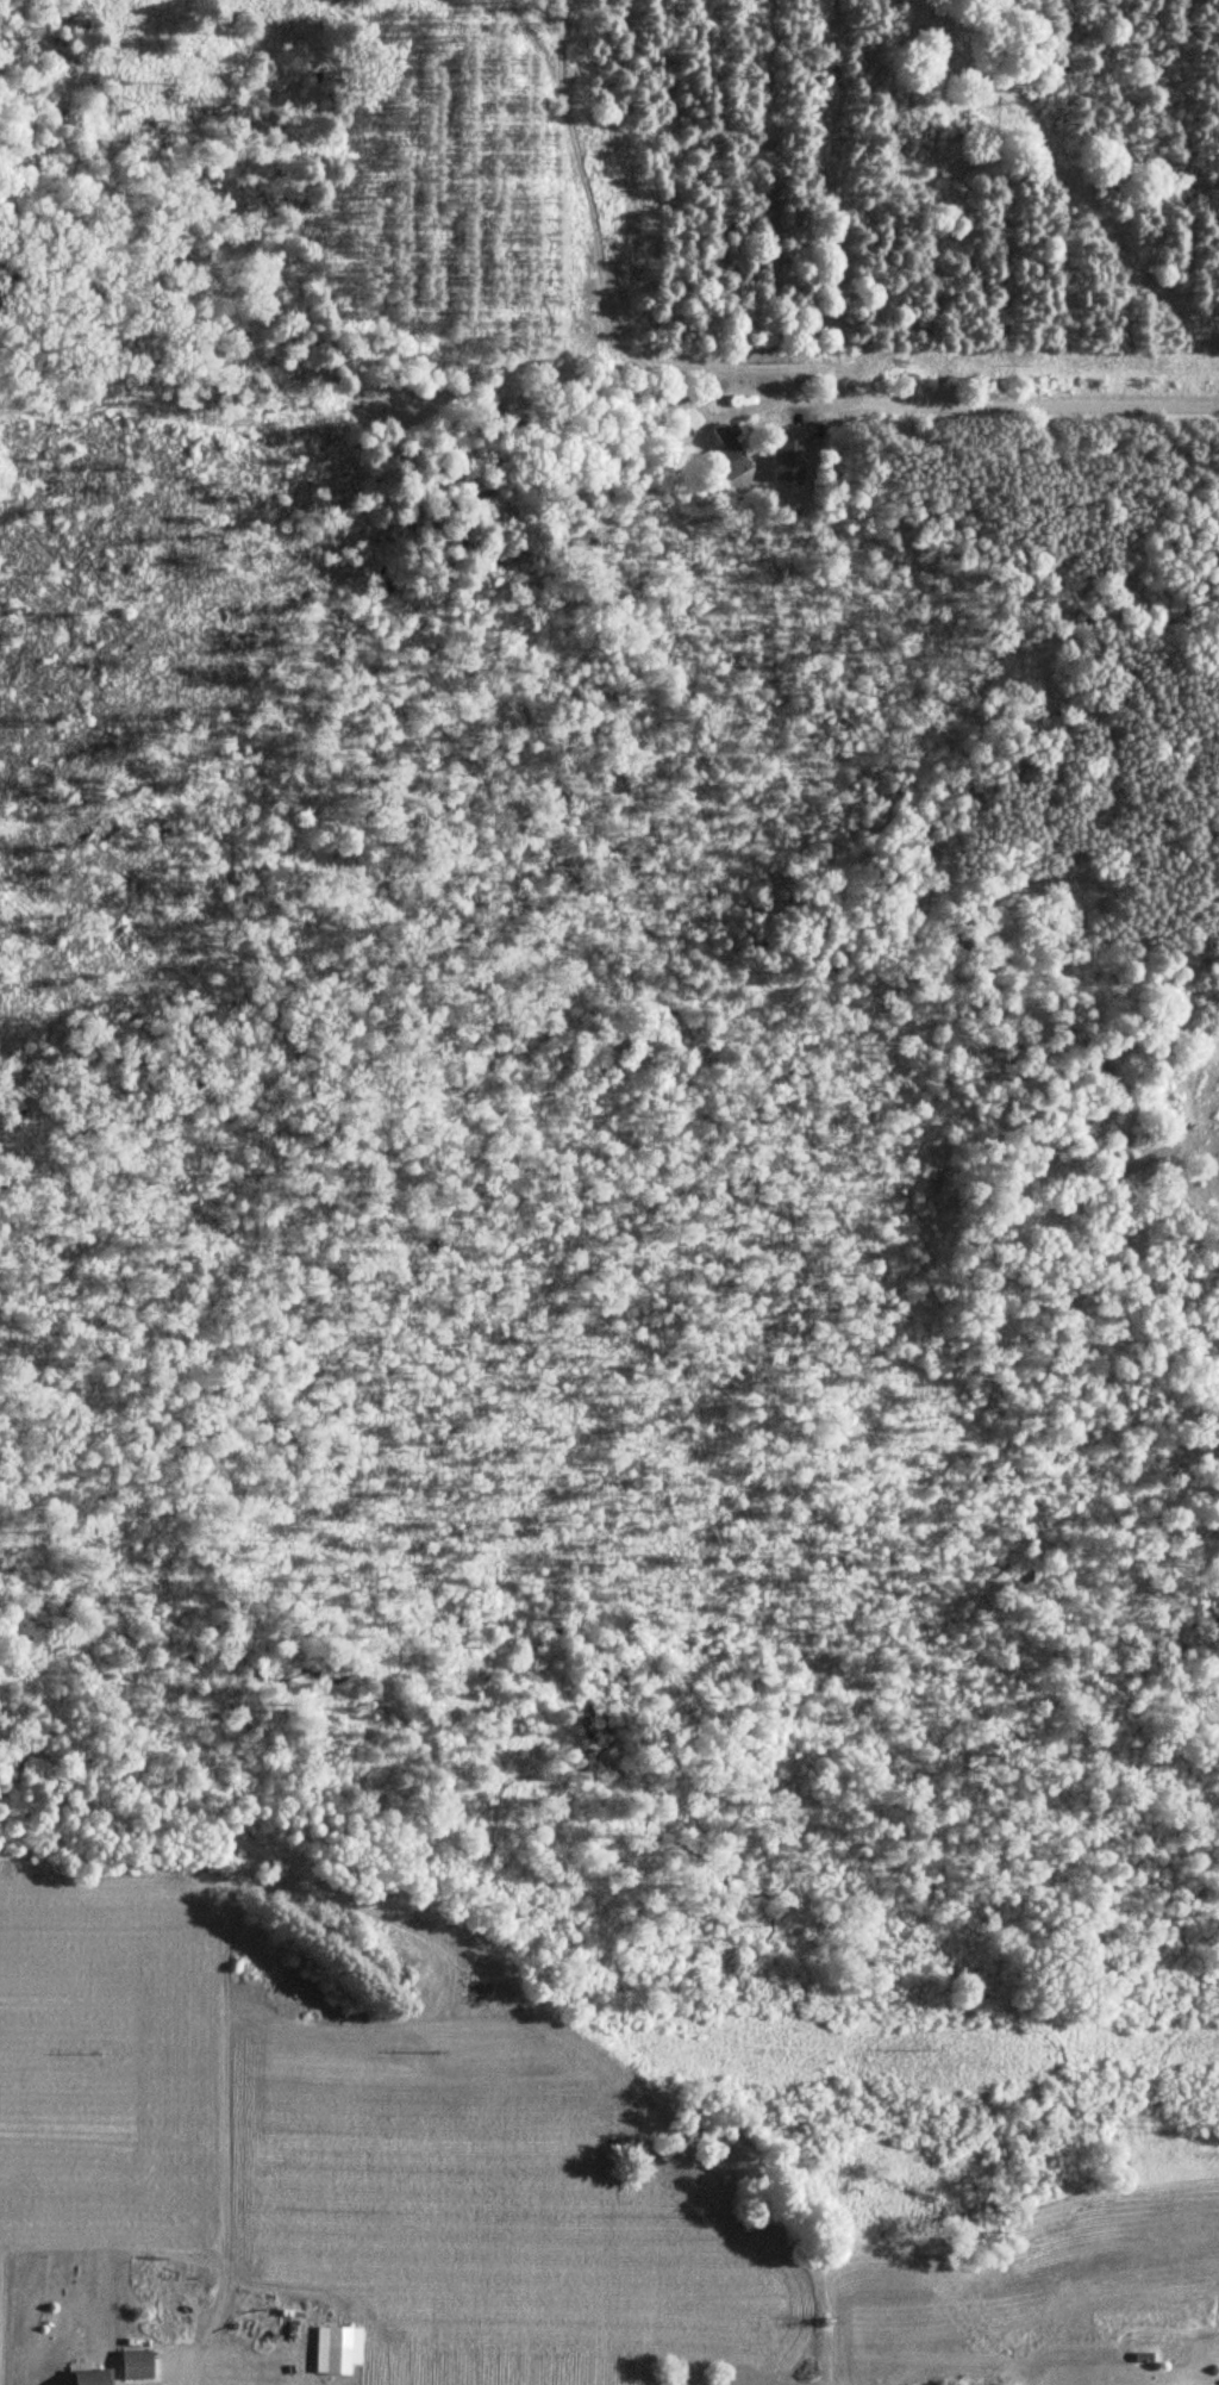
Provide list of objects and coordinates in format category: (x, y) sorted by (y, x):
road: (1032, 403)
building: (344, 2349)
building: (139, 2362)
road: (183, 2374)
building: (77, 2378)

